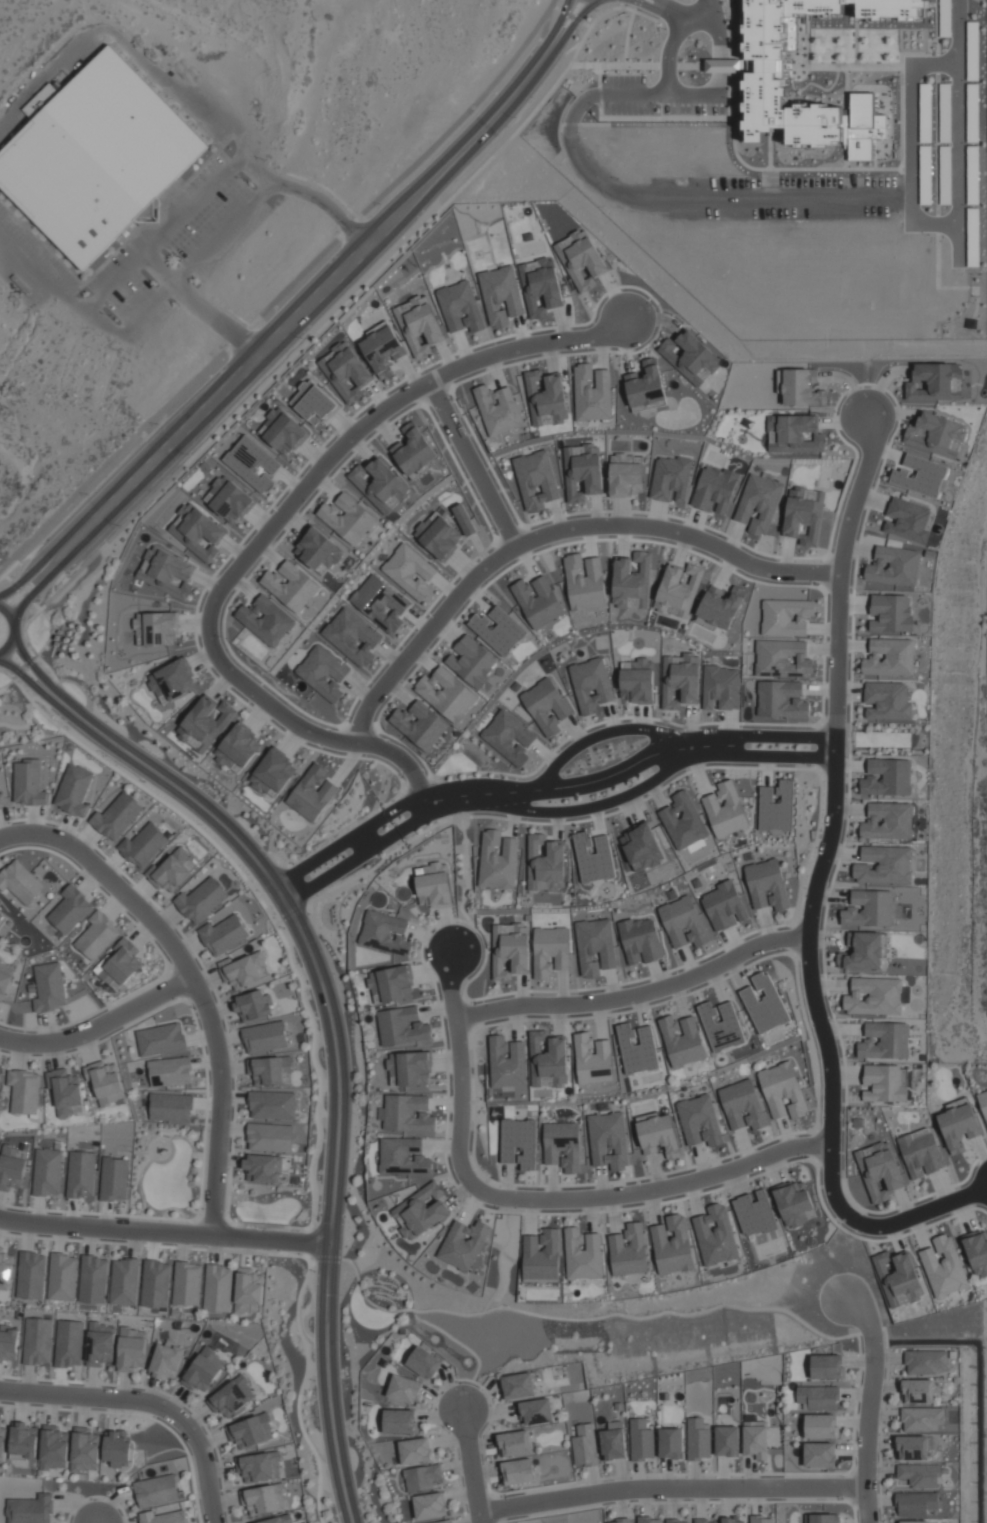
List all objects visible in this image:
road: (634, 4)
road: (705, 7)
road: (682, 8)
road: (658, 11)
building: (945, 11)
road: (599, 13)
road: (568, 15)
road: (555, 24)
road: (543, 28)
road: (568, 28)
road: (564, 51)
building: (722, 66)
building: (781, 84)
building: (40, 100)
building: (925, 113)
building: (945, 113)
building: (972, 113)
road: (956, 126)
building: (862, 127)
building: (95, 162)
building: (925, 175)
building: (945, 175)
building: (972, 175)
road: (704, 197)
road: (183, 208)
road: (921, 222)
building: (580, 259)
building: (540, 287)
road: (281, 292)
building: (500, 295)
road: (302, 296)
building: (460, 307)
road: (313, 313)
road: (322, 323)
building: (419, 324)
building: (382, 350)
building: (689, 357)
building: (346, 371)
building: (938, 382)
building: (645, 386)
building: (591, 393)
building: (546, 399)
building: (313, 403)
building: (498, 410)
building: (282, 432)
building: (795, 434)
building: (935, 435)
building: (414, 450)
building: (251, 463)
road: (476, 463)
building: (582, 471)
building: (625, 476)
building: (920, 476)
building: (670, 479)
building: (535, 480)
building: (380, 485)
building: (714, 489)
building: (228, 500)
building: (758, 504)
building: (804, 515)
building: (347, 518)
building: (463, 519)
building: (907, 520)
road: (269, 529)
road: (554, 531)
building: (196, 532)
building: (438, 535)
road: (38, 550)
building: (318, 550)
building: (893, 566)
road: (30, 570)
building: (409, 571)
building: (166, 573)
road: (58, 576)
building: (631, 582)
building: (584, 583)
road: (839, 584)
building: (290, 586)
road: (37, 587)
building: (678, 590)
road: (19, 591)
building: (537, 601)
building: (380, 603)
building: (719, 607)
building: (891, 613)
building: (785, 617)
building: (266, 620)
building: (157, 628)
road: (13, 630)
building: (497, 630)
road: (47, 632)
road: (22, 633)
building: (351, 637)
building: (889, 657)
building: (782, 659)
building: (472, 661)
road: (21, 666)
road: (32, 667)
building: (322, 673)
building: (679, 680)
building: (172, 681)
building: (636, 681)
road: (28, 682)
road: (14, 683)
road: (54, 684)
building: (590, 685)
building: (720, 688)
building: (446, 694)
building: (780, 699)
building: (886, 700)
road: (42, 703)
road: (66, 705)
building: (546, 706)
road: (68, 712)
building: (205, 723)
building: (420, 724)
road: (604, 734)
road: (774, 734)
building: (508, 737)
building: (237, 748)
road: (775, 757)
building: (272, 773)
building: (886, 777)
road: (602, 778)
building: (28, 783)
building: (73, 790)
building: (312, 793)
building: (2, 802)
road: (591, 807)
building: (775, 807)
building: (725, 810)
building: (116, 816)
building: (683, 821)
building: (888, 821)
road: (372, 823)
road: (382, 843)
building: (144, 844)
building: (641, 848)
building: (593, 857)
building: (497, 861)
building: (545, 865)
building: (885, 865)
building: (174, 870)
building: (20, 882)
building: (433, 885)
building: (766, 885)
building: (201, 899)
building: (724, 906)
building: (70, 909)
building: (869, 909)
building: (1, 918)
building: (682, 922)
building: (384, 933)
building: (223, 934)
building: (97, 935)
building: (640, 940)
building: (594, 946)
building: (510, 949)
building: (550, 951)
building: (862, 951)
building: (119, 964)
building: (244, 970)
building: (5, 978)
road: (194, 981)
building: (395, 983)
building: (49, 987)
building: (374, 987)
road: (639, 994)
building: (874, 996)
building: (764, 1003)
building: (252, 1005)
building: (720, 1025)
building: (402, 1026)
road: (100, 1027)
building: (264, 1037)
building: (160, 1039)
building: (681, 1040)
building: (884, 1041)
building: (636, 1049)
road: (834, 1057)
building: (593, 1059)
building: (548, 1061)
building: (507, 1062)
road: (334, 1068)
building: (409, 1068)
building: (0, 1070)
building: (272, 1070)
building: (169, 1072)
building: (104, 1082)
building: (883, 1083)
building: (23, 1091)
building: (64, 1091)
building: (782, 1091)
building: (983, 1103)
building: (272, 1104)
building: (742, 1105)
building: (170, 1107)
building: (407, 1113)
building: (700, 1122)
building: (958, 1127)
building: (658, 1136)
building: (269, 1137)
building: (608, 1140)
building: (518, 1143)
building: (561, 1146)
building: (919, 1152)
building: (403, 1156)
building: (10, 1168)
building: (263, 1168)
building: (879, 1171)
building: (46, 1172)
building: (80, 1175)
building: (113, 1179)
road: (539, 1197)
building: (794, 1203)
building: (420, 1211)
building: (754, 1213)
road: (163, 1234)
building: (715, 1235)
building: (463, 1244)
building: (672, 1245)
building: (628, 1250)
building: (977, 1251)
building: (582, 1254)
building: (541, 1257)
building: (943, 1266)
building: (5, 1269)
building: (31, 1275)
building: (62, 1277)
building: (899, 1278)
building: (93, 1279)
building: (124, 1282)
building: (155, 1283)
building: (187, 1283)
building: (217, 1288)
building: (247, 1289)
building: (36, 1342)
building: (8, 1343)
building: (68, 1343)
building: (99, 1344)
building: (131, 1349)
building: (166, 1359)
building: (925, 1362)
building: (423, 1363)
building: (827, 1366)
building: (203, 1370)
street lamp: (461, 1382)
building: (518, 1386)
building: (405, 1388)
building: (917, 1391)
building: (231, 1396)
building: (817, 1397)
road: (148, 1402)
road: (870, 1406)
building: (536, 1411)
street lamp: (157, 1417)
building: (922, 1419)
building: (400, 1421)
building: (820, 1426)
building: (252, 1431)
building: (697, 1439)
building: (755, 1439)
building: (640, 1440)
building: (22, 1441)
building: (612, 1441)
building: (726, 1441)
building: (670, 1443)
building: (514, 1444)
building: (2, 1445)
building: (584, 1446)
building: (53, 1447)
building: (116, 1448)
building: (912, 1448)
building: (84, 1449)
building: (415, 1450)
building: (819, 1454)
building: (260, 1467)
road: (472, 1467)
building: (518, 1471)
building: (919, 1474)
building: (422, 1477)
road: (672, 1487)
building: (157, 1490)
street lamp: (506, 1496)
building: (265, 1499)
street lamp: (843, 1499)
building: (915, 1503)
building: (430, 1506)
building: (31, 1509)
building: (163, 1517)
building: (823, 1518)
building: (761, 1519)
building: (277, 1520)
building: (622, 1520)
building: (649, 1520)
building: (733, 1520)
building: (445, 1521)
building: (676, 1521)
building: (704, 1521)
building: (914, 1521)

